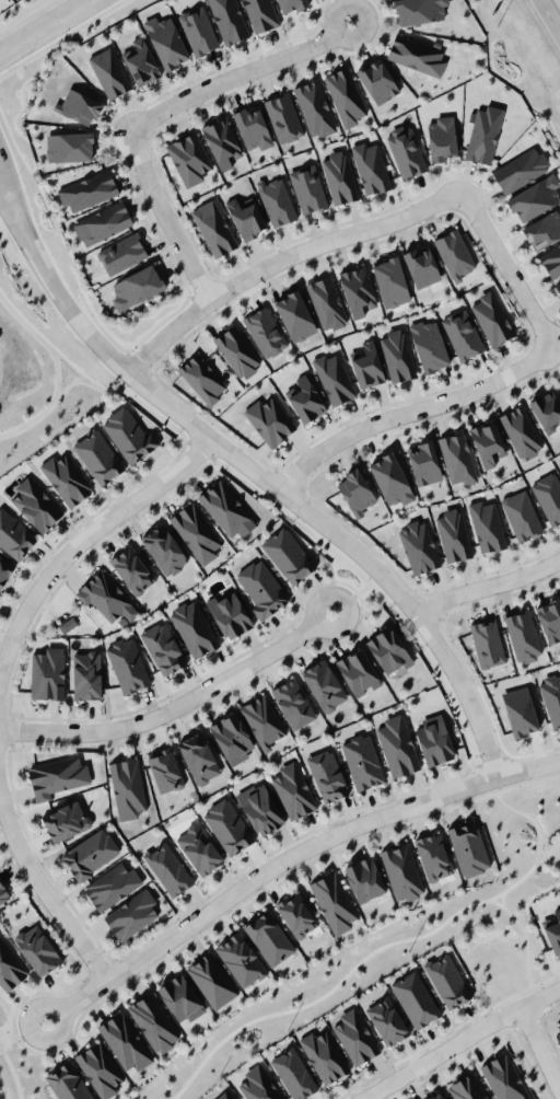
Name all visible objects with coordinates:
building: (291, 4)
building: (420, 10)
building: (260, 14)
building: (229, 20)
road: (548, 20)
road: (45, 26)
building: (198, 28)
building: (165, 41)
building: (416, 54)
building: (141, 61)
building: (109, 72)
road: (242, 74)
building: (377, 81)
building: (345, 96)
building: (78, 105)
building: (314, 107)
building: (282, 116)
building: (253, 127)
building: (482, 135)
building: (441, 138)
building: (221, 140)
building: (69, 147)
building: (406, 151)
building: (189, 158)
building: (371, 167)
building: (520, 169)
building: (339, 176)
road: (11, 186)
building: (307, 186)
building: (87, 190)
building: (535, 197)
building: (277, 200)
road: (11, 205)
road: (166, 217)
building: (246, 217)
building: (102, 222)
building: (213, 228)
building: (542, 230)
building: (121, 253)
building: (454, 253)
road: (281, 258)
building: (551, 259)
building: (421, 266)
road: (506, 266)
building: (389, 280)
building: (558, 284)
building: (137, 286)
building: (358, 290)
building: (326, 302)
building: (294, 314)
building: (491, 316)
building: (265, 331)
building: (463, 334)
building: (430, 345)
building: (237, 351)
building: (397, 354)
building: (366, 365)
road: (58, 368)
building: (202, 378)
building: (334, 378)
building: (559, 386)
building: (305, 398)
building: (547, 407)
road: (408, 410)
building: (270, 420)
building: (521, 430)
building: (129, 432)
building: (488, 443)
building: (97, 454)
building: (457, 458)
building: (423, 462)
building: (66, 477)
building: (390, 478)
road: (276, 485)
building: (357, 490)
building: (548, 496)
building: (34, 502)
building: (223, 506)
building: (521, 514)
building: (487, 525)
building: (195, 531)
building: (15, 534)
building: (453, 534)
building: (419, 546)
road: (73, 548)
building: (163, 548)
building: (287, 554)
building: (4, 568)
building: (131, 568)
road: (488, 585)
building: (259, 587)
building: (103, 595)
building: (227, 612)
building: (551, 615)
building: (194, 627)
building: (525, 632)
building: (490, 640)
building: (162, 646)
building: (388, 649)
building: (127, 663)
building: (358, 671)
building: (47, 673)
building: (86, 673)
building: (323, 684)
building: (552, 694)
building: (292, 702)
road: (176, 706)
building: (521, 707)
building: (262, 720)
building: (232, 737)
building: (433, 739)
building: (397, 744)
building: (198, 756)
building: (362, 760)
building: (164, 767)
building: (327, 774)
building: (58, 776)
building: (127, 786)
building: (293, 790)
road: (505, 803)
building: (259, 807)
building: (66, 820)
building: (227, 826)
building: (198, 847)
building: (468, 847)
building: (90, 853)
building: (433, 855)
road: (287, 859)
building: (167, 867)
building: (401, 870)
building: (363, 877)
building: (113, 884)
road: (44, 887)
building: (3, 893)
building: (334, 901)
building: (296, 913)
building: (130, 914)
building: (552, 930)
building: (268, 936)
building: (37, 948)
building: (241, 958)
road: (359, 962)
building: (10, 967)
building: (211, 979)
building: (447, 981)
building: (180, 997)
building: (415, 999)
building: (387, 1020)
building: (154, 1021)
building: (559, 1026)
road: (8, 1036)
building: (355, 1037)
road: (457, 1040)
building: (124, 1041)
road: (541, 1048)
building: (324, 1055)
building: (98, 1068)
road: (13, 1069)
building: (293, 1073)
building: (504, 1078)
building: (68, 1081)
building: (258, 1085)
building: (467, 1087)
building: (224, 1096)
building: (436, 1096)

